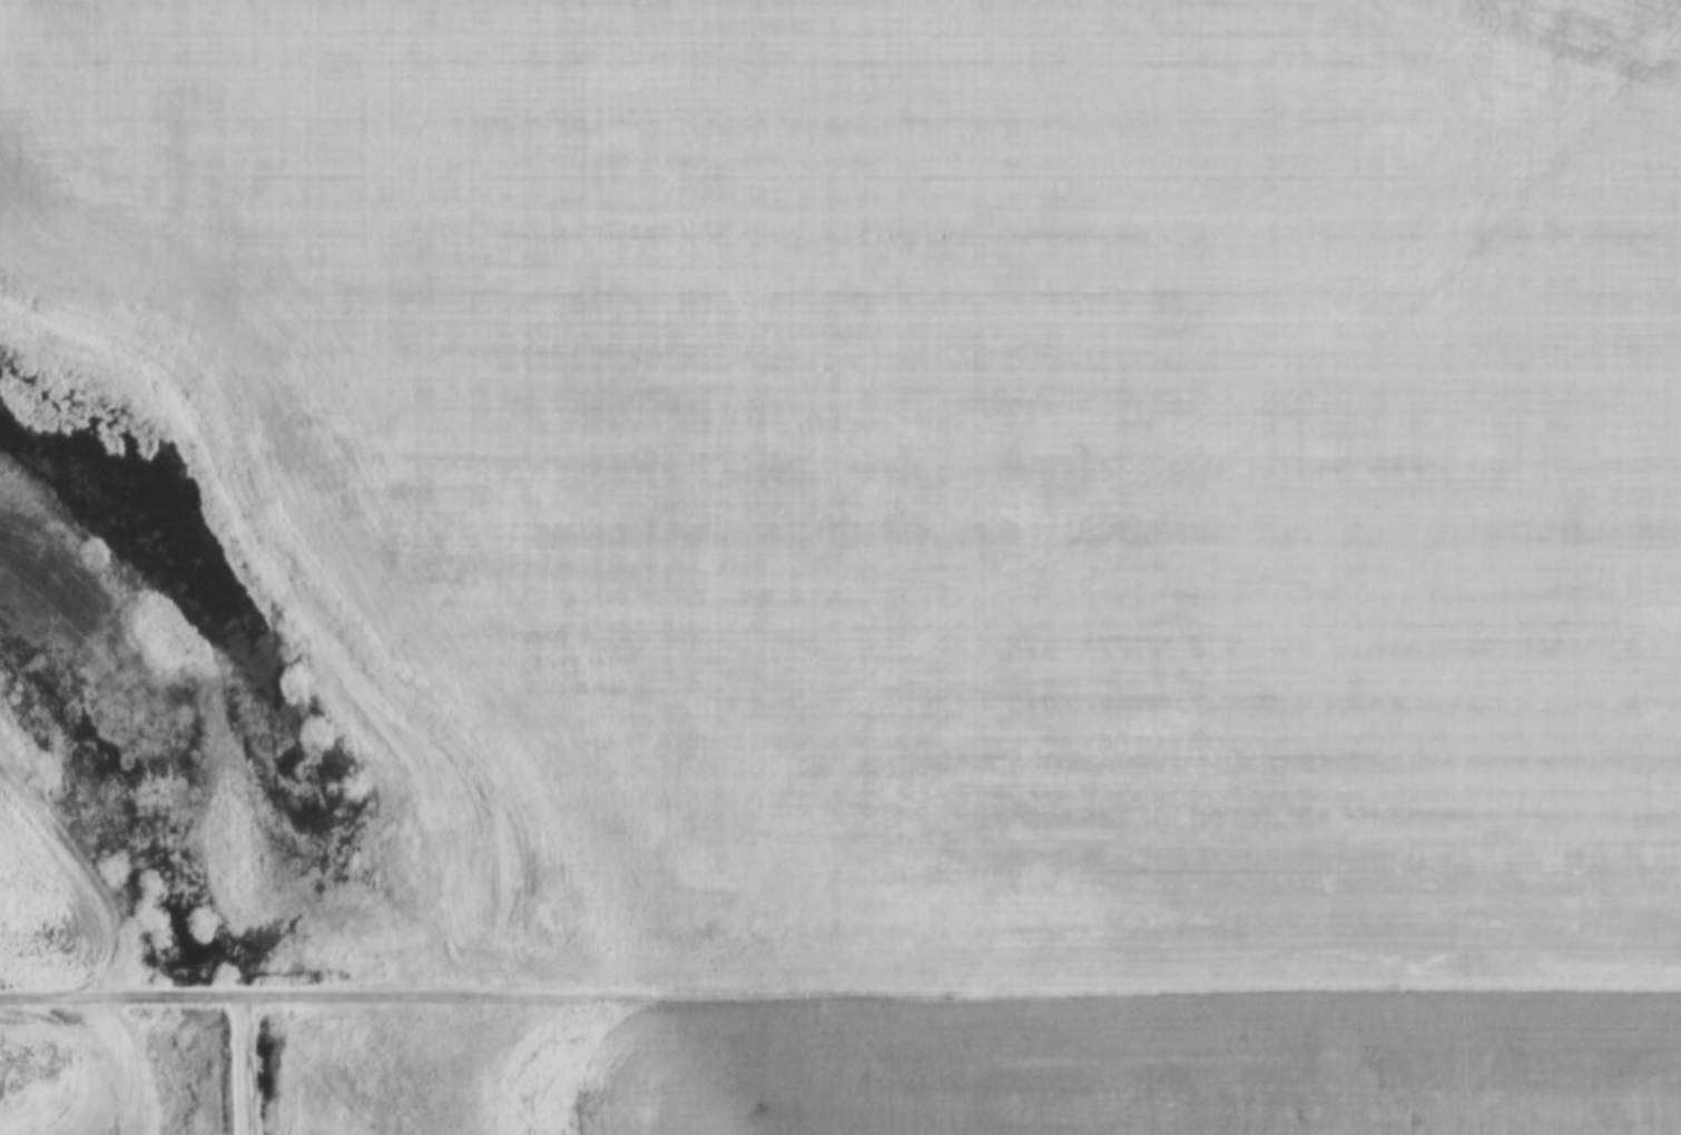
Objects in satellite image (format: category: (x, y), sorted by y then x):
crop: (942, 456)
road: (840, 991)
road: (225, 1065)

